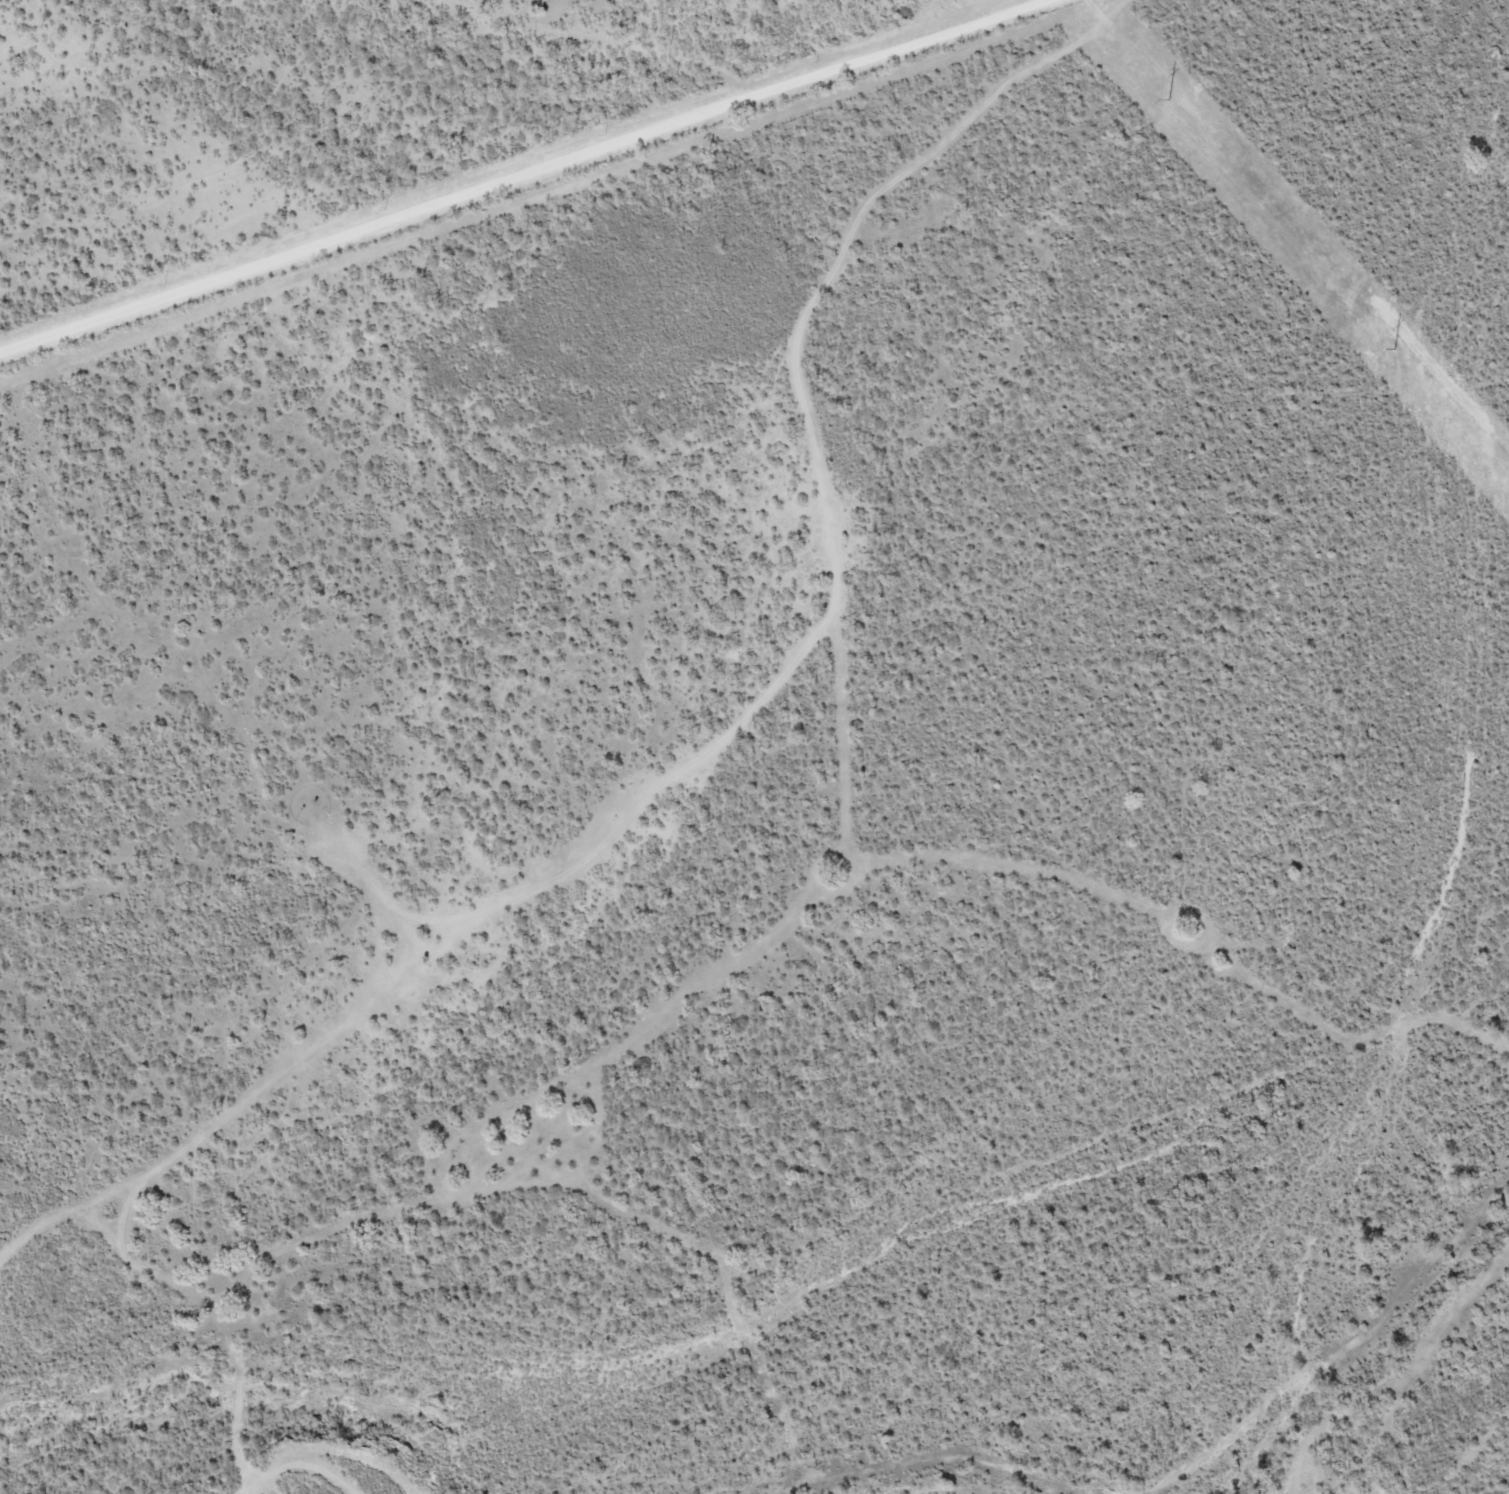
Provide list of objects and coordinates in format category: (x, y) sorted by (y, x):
road: (782, 12)
power tower: (1156, 93)
road: (467, 197)
power tower: (1385, 342)

